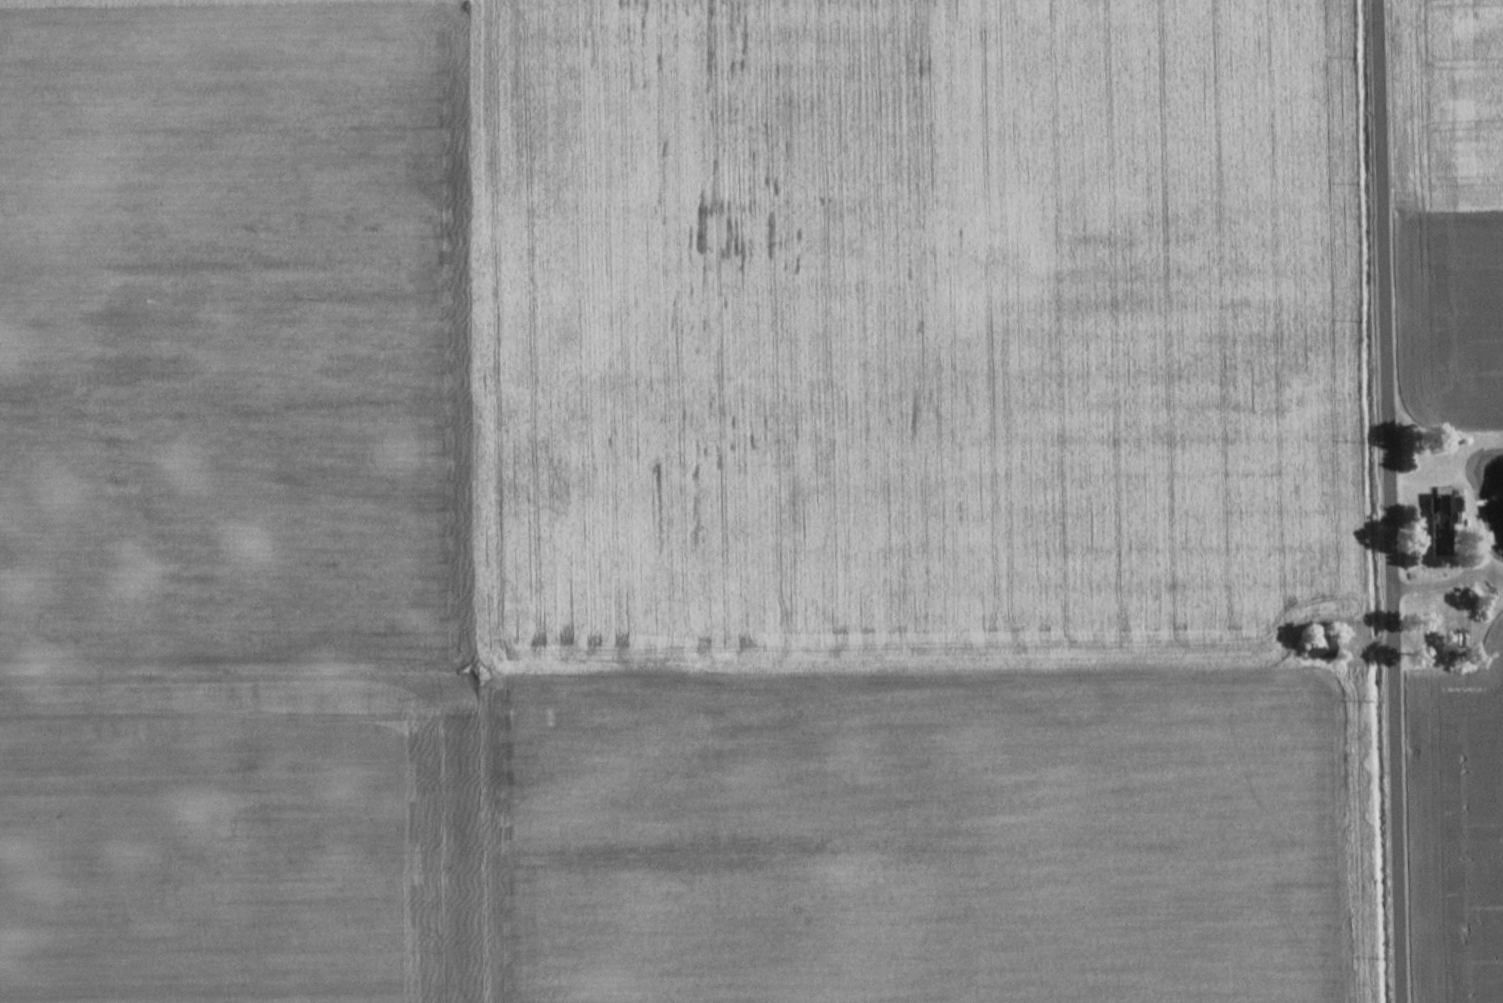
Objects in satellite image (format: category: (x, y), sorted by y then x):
crop: (1455, 205)
crop: (674, 501)
road: (1388, 501)
crop: (1463, 832)

